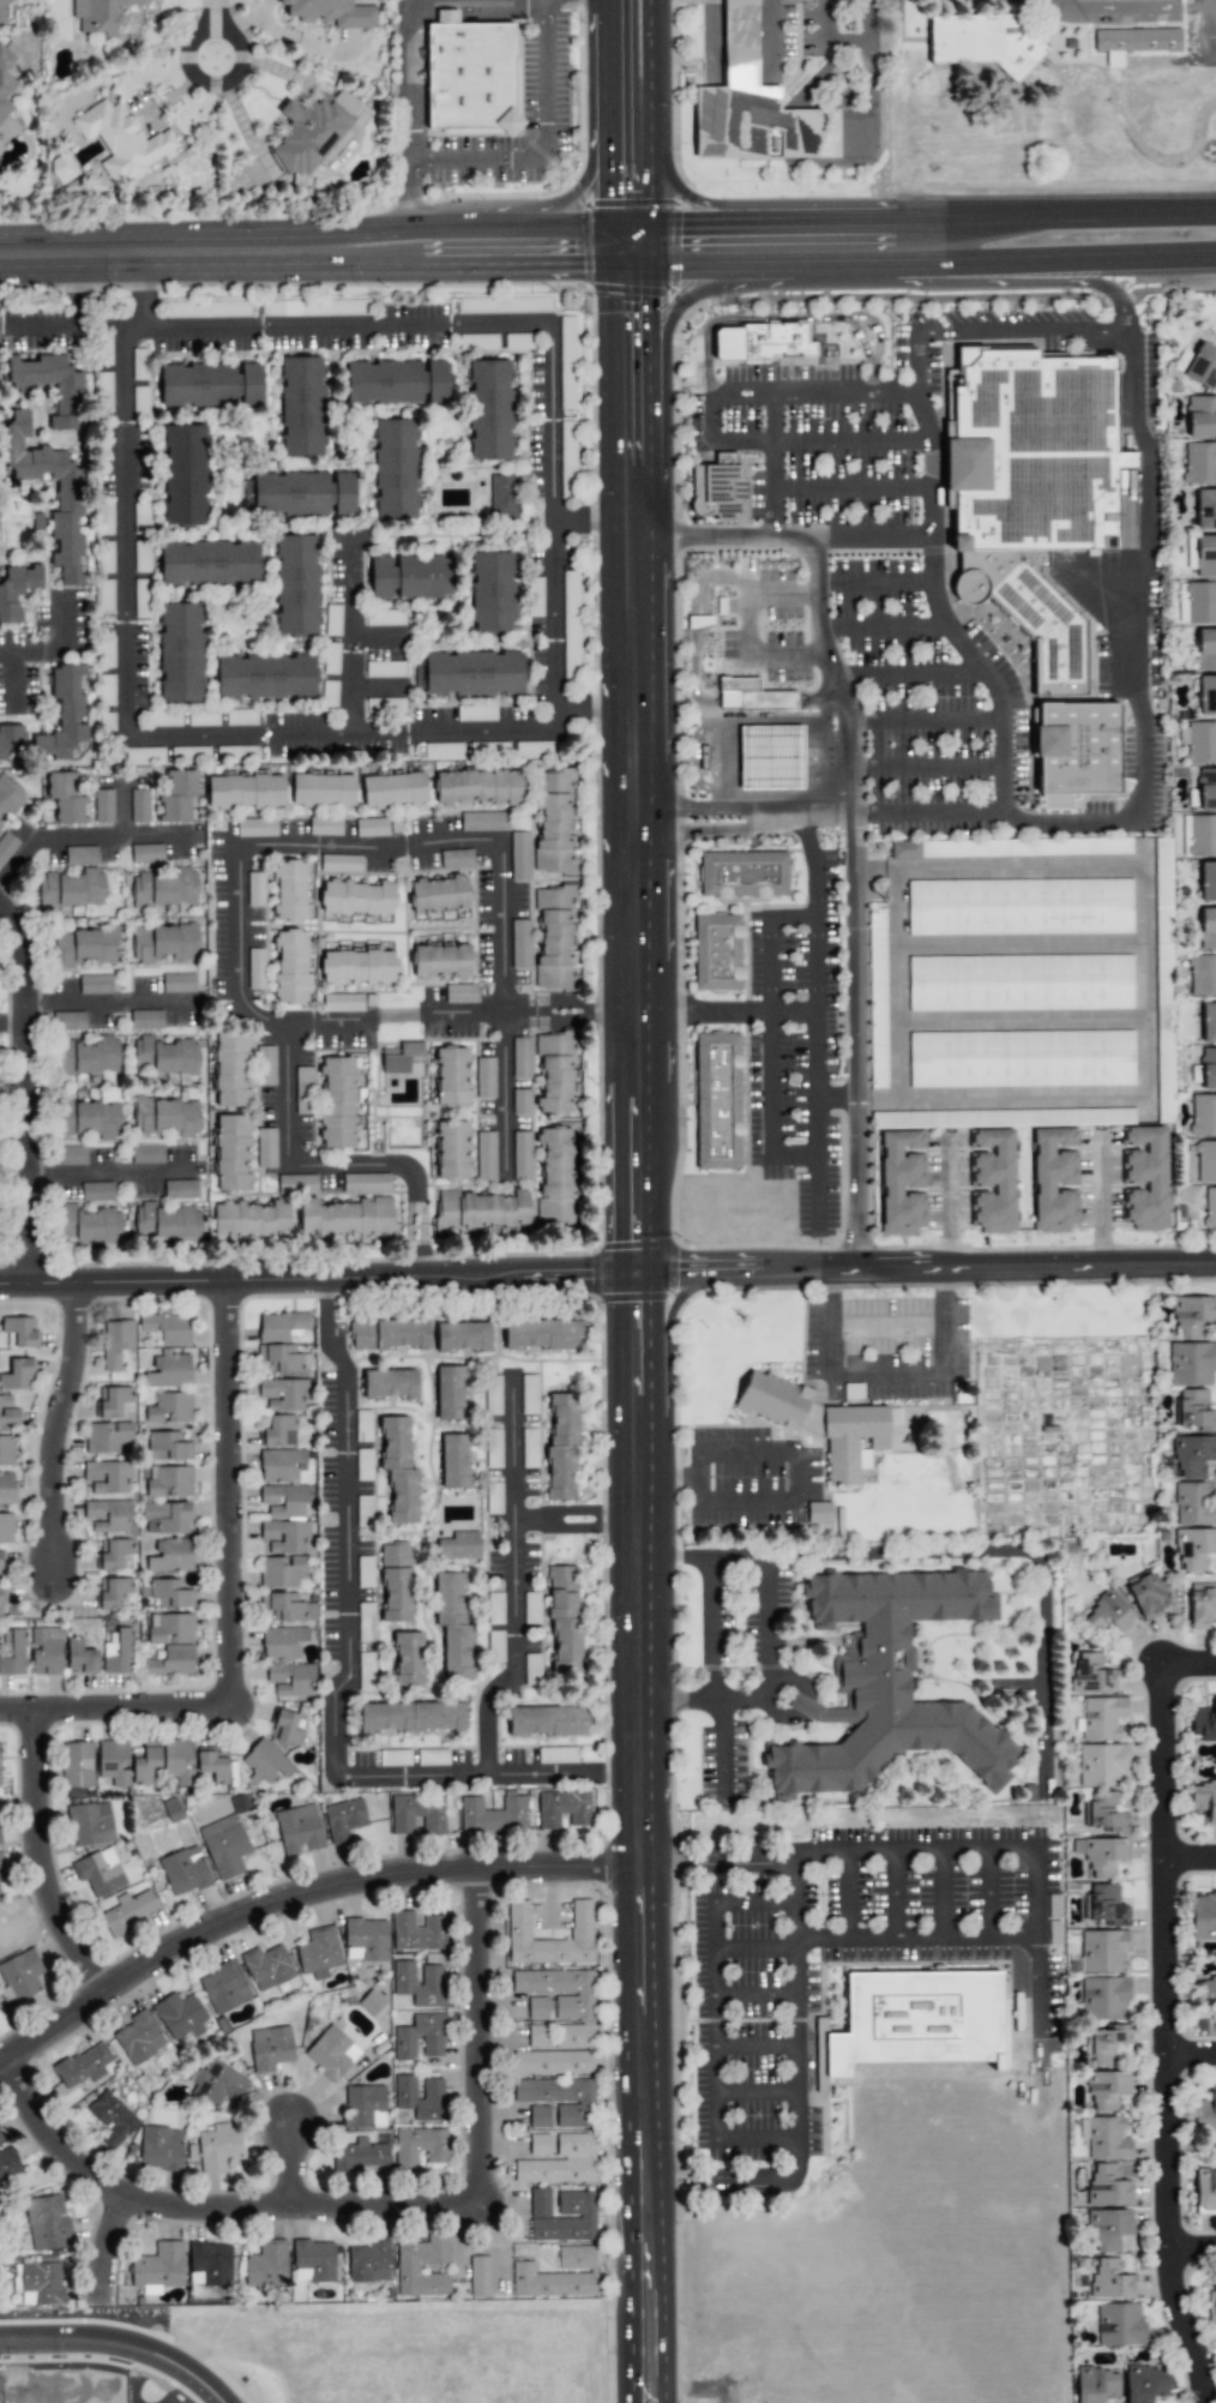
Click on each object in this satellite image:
building: (4, 1)
building: (1149, 10)
building: (331, 12)
building: (98, 14)
building: (446, 16)
road: (868, 20)
road: (204, 32)
road: (770, 41)
road: (710, 42)
building: (983, 42)
building: (1134, 42)
building: (470, 76)
building: (5, 80)
road: (871, 97)
building: (754, 106)
road: (409, 125)
building: (313, 136)
building: (122, 140)
road: (544, 143)
building: (62, 167)
road: (679, 192)
road: (560, 203)
road: (1079, 217)
road: (784, 245)
road: (309, 252)
road: (1080, 252)
road: (993, 282)
building: (504, 305)
road: (676, 306)
road: (791, 318)
road: (34, 323)
road: (1024, 330)
road: (862, 338)
building: (761, 342)
road: (920, 358)
building: (139, 364)
building: (1202, 366)
building: (396, 382)
building: (49, 384)
building: (210, 384)
road: (899, 385)
building: (103, 391)
building: (301, 405)
building: (489, 409)
building: (1200, 416)
road: (760, 440)
building: (1199, 462)
building: (395, 468)
building: (183, 474)
road: (847, 486)
building: (718, 487)
building: (1030, 488)
building: (300, 493)
building: (71, 494)
building: (502, 495)
building: (1205, 509)
building: (104, 519)
road: (589, 521)
building: (1202, 554)
building: (209, 563)
building: (409, 577)
road: (874, 578)
building: (296, 584)
road: (697, 584)
building: (17, 589)
building: (492, 591)
building: (1200, 602)
building: (384, 618)
building: (332, 620)
road: (353, 631)
road: (885, 633)
road: (379, 637)
building: (1205, 648)
road: (56, 649)
building: (180, 651)
building: (385, 668)
road: (982, 669)
building: (469, 673)
building: (265, 675)
road: (914, 679)
road: (12, 680)
road: (378, 689)
building: (751, 695)
building: (1206, 695)
road: (829, 711)
road: (1139, 711)
building: (476, 713)
building: (64, 715)
building: (239, 716)
building: (203, 717)
building: (165, 719)
road: (732, 719)
road: (926, 721)
road: (500, 729)
building: (11, 741)
building: (1200, 741)
building: (1076, 751)
building: (144, 755)
building: (770, 757)
road: (819, 761)
road: (926, 764)
road: (833, 769)
building: (478, 787)
building: (1206, 788)
building: (393, 789)
building: (246, 791)
building: (323, 791)
road: (773, 791)
building: (177, 795)
building: (66, 797)
building: (8, 798)
building: (103, 805)
building: (139, 805)
road: (122, 807)
road: (850, 809)
road: (739, 812)
building: (483, 821)
building: (556, 822)
building: (325, 825)
building: (255, 827)
building: (371, 827)
road: (86, 834)
building: (1202, 835)
building: (6, 846)
road: (236, 847)
building: (904, 849)
building: (146, 853)
building: (80, 855)
building: (518, 855)
building: (456, 858)
building: (339, 863)
building: (742, 873)
building: (1208, 881)
building: (165, 888)
building: (255, 888)
building: (289, 890)
building: (68, 891)
building: (439, 893)
building: (356, 897)
building: (1019, 906)
road: (811, 913)
building: (1208, 927)
road: (631, 935)
building: (555, 936)
building: (163, 942)
building: (519, 943)
road: (767, 943)
road: (1018, 944)
building: (83, 947)
building: (717, 953)
building: (440, 962)
building: (290, 967)
building: (357, 967)
building: (255, 968)
building: (1202, 975)
building: (177, 983)
building: (1021, 983)
building: (95, 984)
road: (896, 984)
building: (460, 992)
road: (1142, 998)
road: (107, 1001)
building: (342, 1002)
building: (145, 1019)
road: (1019, 1020)
building: (68, 1021)
building: (1208, 1022)
road: (329, 1023)
road: (817, 1033)
road: (506, 1053)
building: (89, 1056)
building: (164, 1056)
building: (399, 1057)
building: (520, 1057)
building: (1021, 1058)
building: (265, 1065)
building: (1208, 1068)
building: (231, 1069)
building: (556, 1071)
building: (452, 1075)
building: (484, 1077)
building: (303, 1089)
road: (23, 1094)
building: (342, 1099)
building: (717, 1100)
building: (520, 1101)
road: (770, 1107)
building: (1203, 1115)
building: (165, 1116)
building: (90, 1118)
building: (265, 1147)
building: (453, 1149)
building: (231, 1152)
building: (146, 1153)
building: (70, 1155)
building: (486, 1155)
building: (520, 1155)
building: (1205, 1161)
road: (114, 1175)
building: (555, 1176)
building: (1144, 1178)
building: (1053, 1179)
building: (992, 1181)
building: (296, 1183)
building: (366, 1183)
building: (902, 1183)
building: (180, 1189)
building: (96, 1191)
road: (1102, 1201)
building: (1210, 1207)
building: (478, 1212)
road: (941, 1215)
building: (347, 1218)
building: (251, 1220)
building: (165, 1222)
building: (88, 1224)
road: (607, 1276)
road: (830, 1284)
building: (1192, 1315)
road: (886, 1318)
building: (167, 1328)
building: (19, 1332)
road: (943, 1333)
building: (389, 1334)
building: (542, 1334)
road: (830, 1334)
building: (462, 1336)
building: (281, 1341)
building: (116, 1342)
building: (1191, 1363)
building: (168, 1370)
road: (887, 1372)
building: (17, 1374)
building: (390, 1383)
building: (450, 1392)
building: (283, 1394)
building: (492, 1394)
building: (110, 1401)
building: (169, 1408)
building: (1194, 1410)
building: (7, 1412)
building: (820, 1423)
road: (59, 1428)
building: (278, 1431)
building: (108, 1437)
building: (561, 1444)
building: (167, 1446)
building: (493, 1448)
building: (6, 1450)
building: (1192, 1455)
building: (455, 1460)
building: (398, 1470)
building: (107, 1476)
road: (797, 1476)
road: (669, 1478)
building: (169, 1480)
road: (700, 1480)
building: (282, 1482)
building: (6, 1488)
road: (231, 1495)
building: (1194, 1503)
building: (818, 1512)
building: (107, 1514)
road: (577, 1515)
building: (167, 1518)
building: (6, 1528)
building: (284, 1536)
building: (458, 1545)
building: (1194, 1549)
building: (112, 1552)
building: (170, 1555)
road: (825, 1555)
road: (676, 1557)
building: (1, 1567)
building: (282, 1570)
road: (513, 1576)
building: (395, 1581)
building: (110, 1592)
building: (169, 1593)
building: (1146, 1596)
building: (1, 1602)
building: (289, 1605)
building: (1202, 1605)
building: (1108, 1612)
building: (564, 1620)
building: (452, 1626)
building: (282, 1642)
building: (170, 1644)
building: (46, 1651)
building: (12, 1652)
building: (116, 1652)
building: (79, 1656)
building: (408, 1658)
road: (1191, 1663)
building: (1091, 1675)
building: (289, 1678)
road: (342, 1682)
building: (886, 1684)
road: (1016, 1686)
road: (116, 1708)
road: (717, 1711)
building: (411, 1716)
building: (1101, 1717)
building: (547, 1720)
building: (1203, 1722)
building: (285, 1728)
building: (556, 1754)
building: (113, 1761)
building: (266, 1761)
building: (179, 1762)
building: (77, 1764)
building: (146, 1764)
building: (213, 1765)
building: (1101, 1765)
building: (1203, 1798)
building: (562, 1808)
building: (1103, 1812)
building: (417, 1814)
building: (493, 1814)
building: (343, 1820)
building: (90, 1824)
building: (297, 1830)
building: (224, 1845)
road: (1193, 1846)
road: (1006, 1848)
building: (1100, 1855)
road: (40, 1858)
road: (715, 1860)
building: (1, 1862)
building: (183, 1870)
building: (98, 1872)
road: (988, 1892)
road: (944, 1893)
road: (893, 1894)
road: (301, 1897)
road: (849, 1897)
road: (753, 1900)
building: (1104, 1905)
building: (128, 1911)
building: (1203, 1915)
building: (518, 1920)
building: (417, 1932)
road: (914, 1938)
building: (365, 1939)
road: (754, 1950)
building: (1102, 1951)
building: (318, 1952)
road: (1172, 1956)
building: (266, 1968)
building: (432, 1974)
building: (19, 1976)
building: (223, 1987)
building: (555, 1993)
road: (756, 1993)
building: (1204, 1996)
building: (1103, 1998)
building: (371, 2001)
building: (179, 2015)
road: (717, 2021)
building: (915, 2021)
building: (538, 2036)
building: (138, 2037)
building: (419, 2037)
road: (478, 2039)
building: (1109, 2044)
road: (756, 2047)
building: (270, 2048)
building: (331, 2053)
building: (559, 2053)
road: (1194, 2054)
building: (83, 2065)
building: (216, 2084)
building: (433, 2087)
building: (1107, 2089)
road: (795, 2090)
road: (757, 2095)
building: (559, 2098)
building: (363, 2107)
building: (1205, 2113)
building: (537, 2116)
building: (112, 2119)
road: (644, 2137)
building: (0, 2138)
building: (1107, 2138)
road: (758, 2140)
building: (538, 2144)
building: (420, 2145)
building: (159, 2147)
building: (217, 2147)
building: (360, 2155)
building: (560, 2162)
building: (8, 2164)
road: (291, 2168)
building: (1108, 2186)
building: (0, 2191)
building: (1205, 2191)
road: (206, 2209)
building: (561, 2216)
building: (46, 2222)
building: (1108, 2229)
road: (104, 2248)
road: (1196, 2248)
building: (313, 2260)
building: (369, 2261)
building: (209, 2264)
building: (266, 2264)
building: (414, 2264)
building: (158, 2267)
building: (558, 2275)
building: (478, 2276)
building: (1110, 2279)
building: (40, 2283)
building: (1214, 2305)
building: (1119, 2324)
road: (1198, 2325)
road: (121, 2348)
building: (1096, 2384)
building: (1144, 2384)

